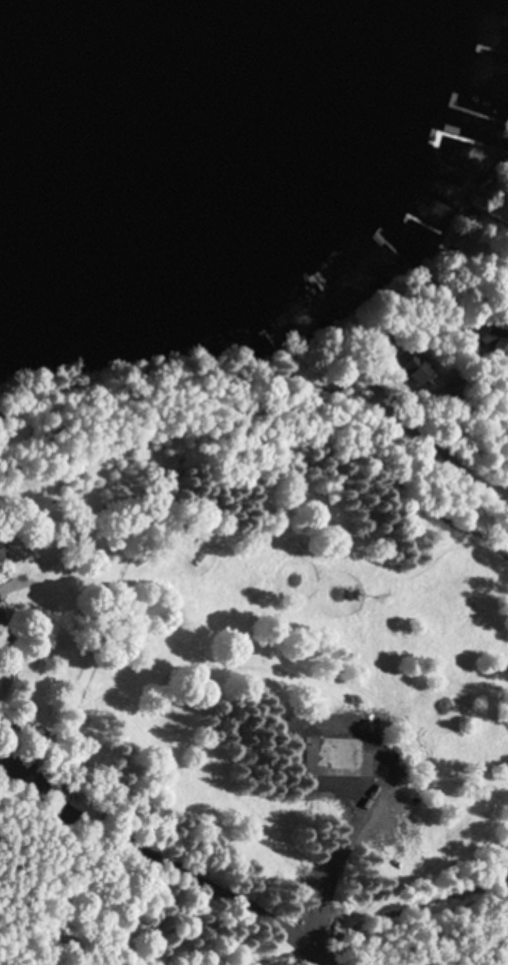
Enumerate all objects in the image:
building: (493, 343)
building: (414, 372)
road: (501, 387)
building: (507, 411)
road: (449, 508)
building: (3, 553)
road: (173, 847)

